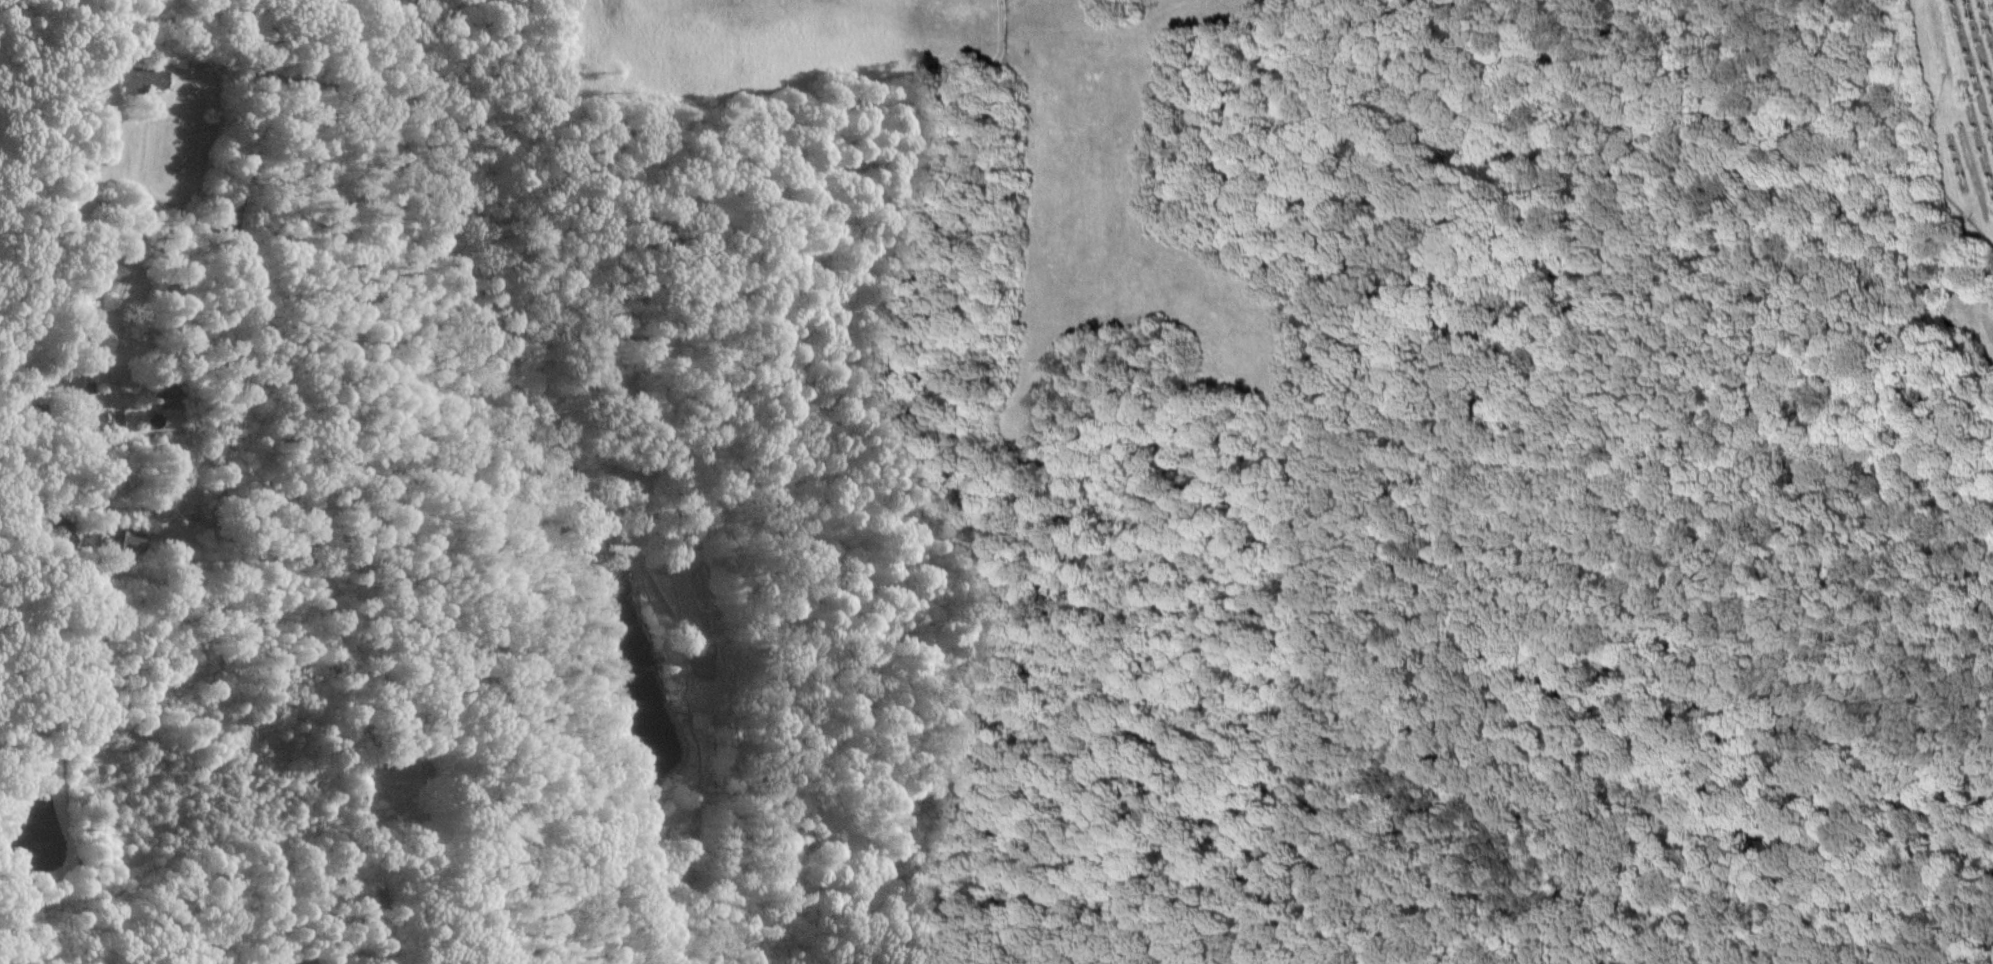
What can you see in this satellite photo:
building: (140, 77)
road: (136, 238)
road: (448, 280)
building: (161, 394)
building: (86, 422)
road: (302, 480)
building: (559, 480)
building: (118, 541)

